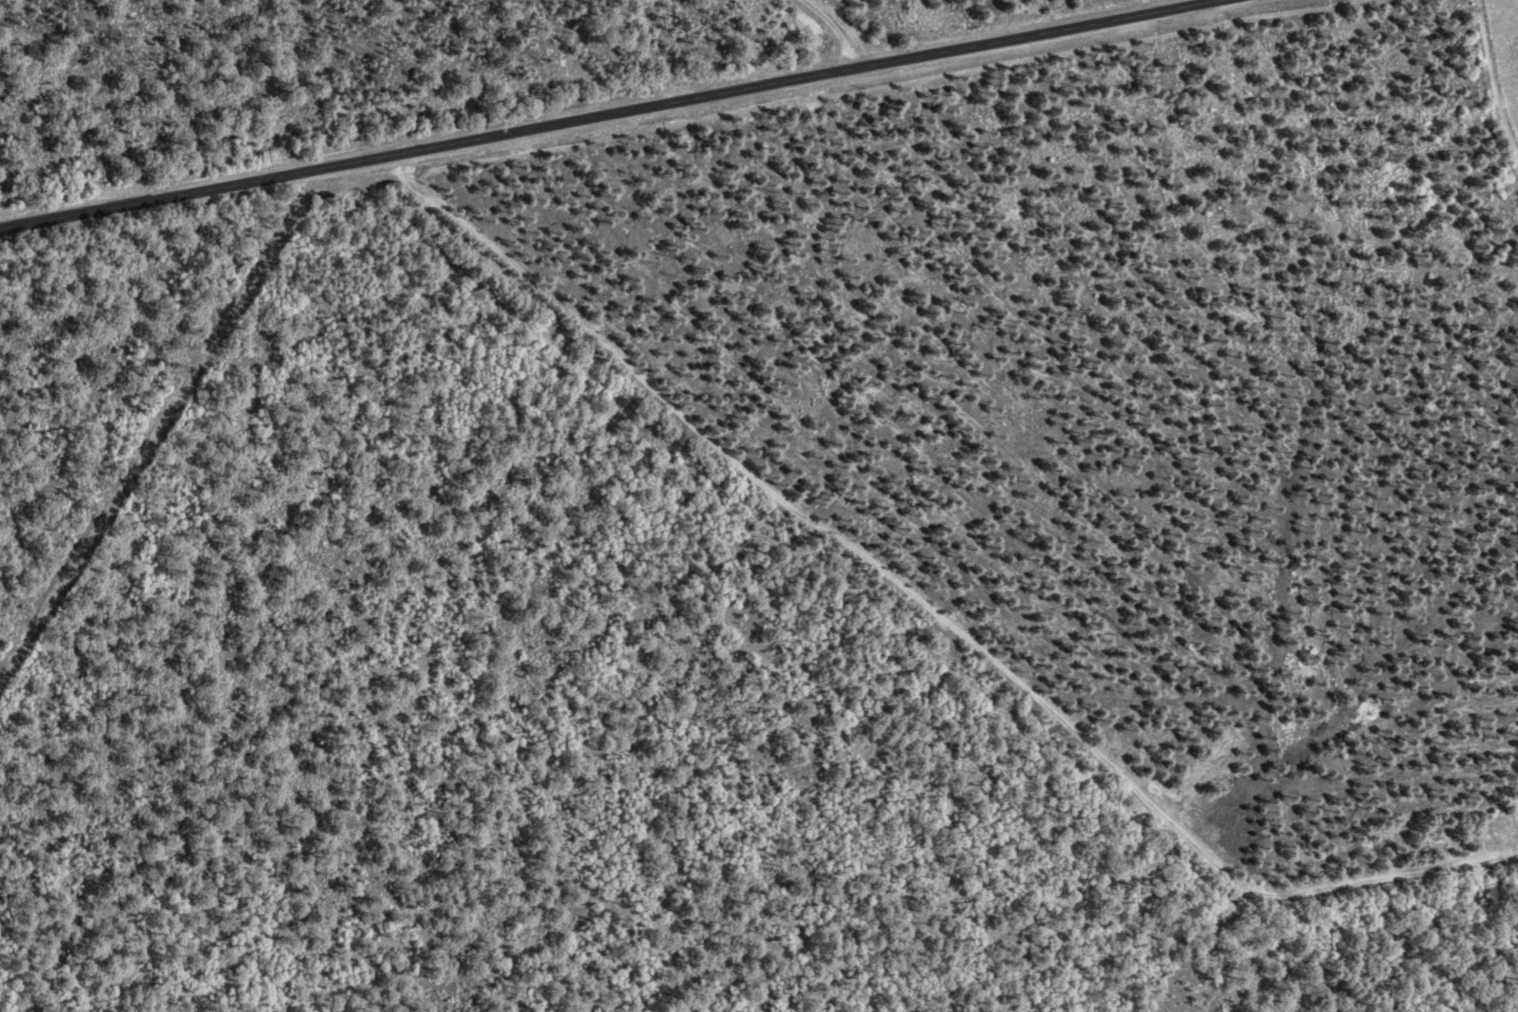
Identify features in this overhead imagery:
road: (610, 115)

